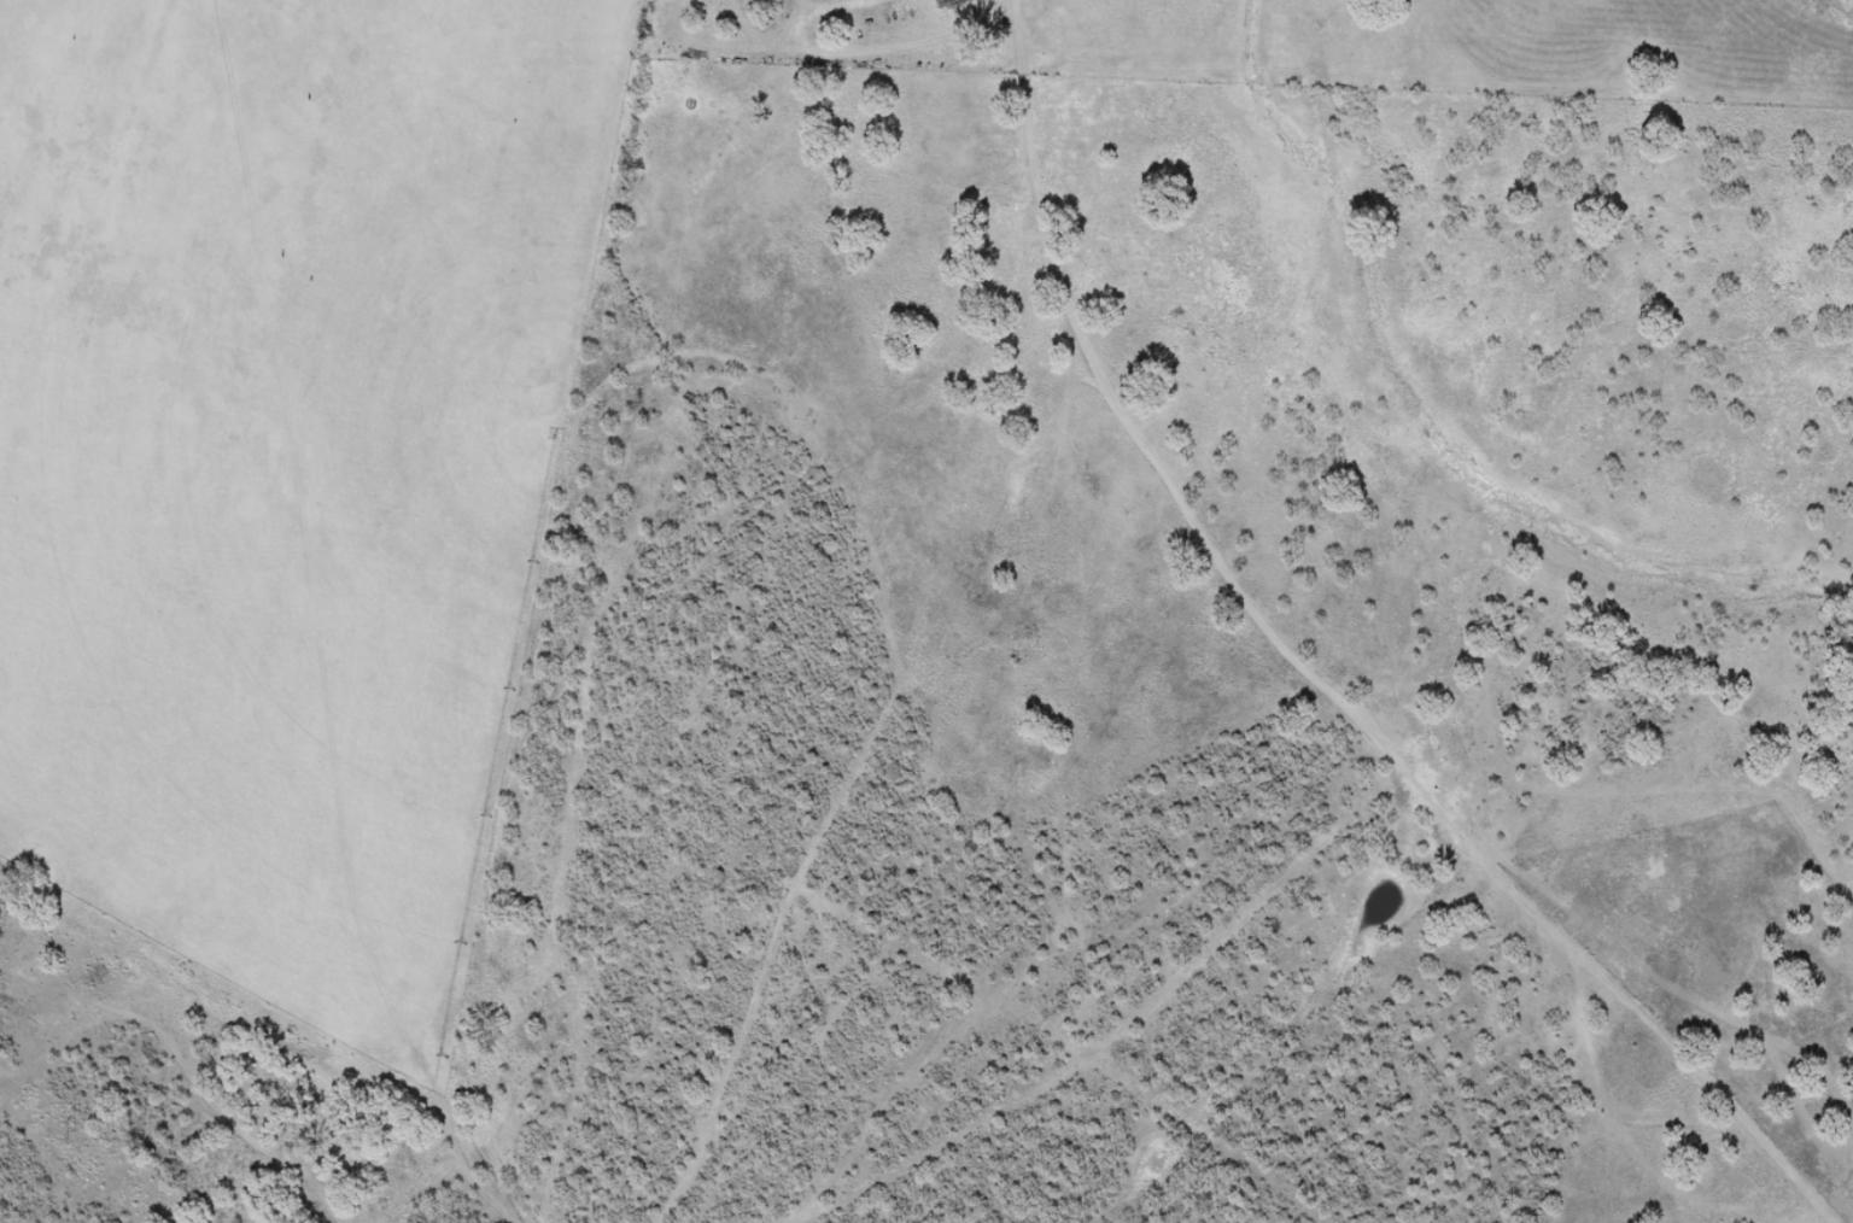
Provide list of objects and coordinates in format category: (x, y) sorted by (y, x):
road: (1298, 624)

